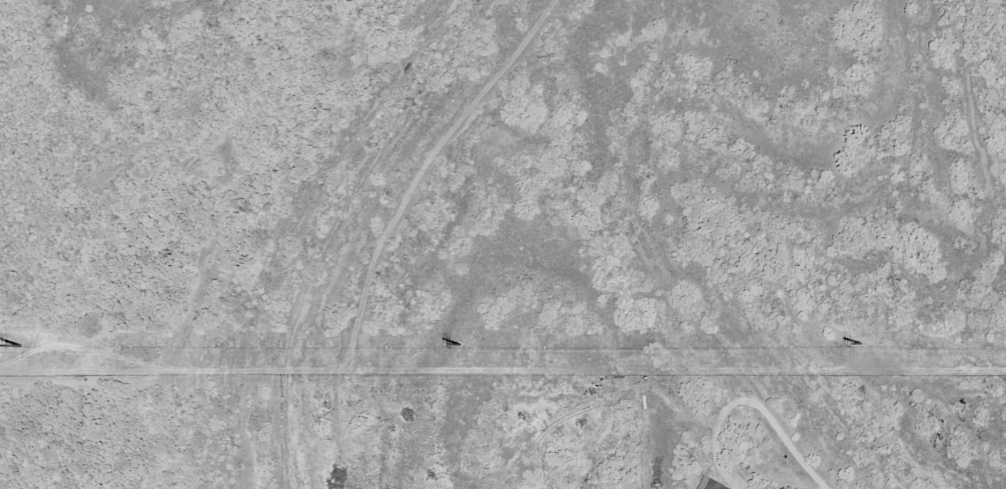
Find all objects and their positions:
road: (254, 135)
power tower: (862, 340)
power tower: (462, 342)
power tower: (20, 344)
road: (750, 402)

